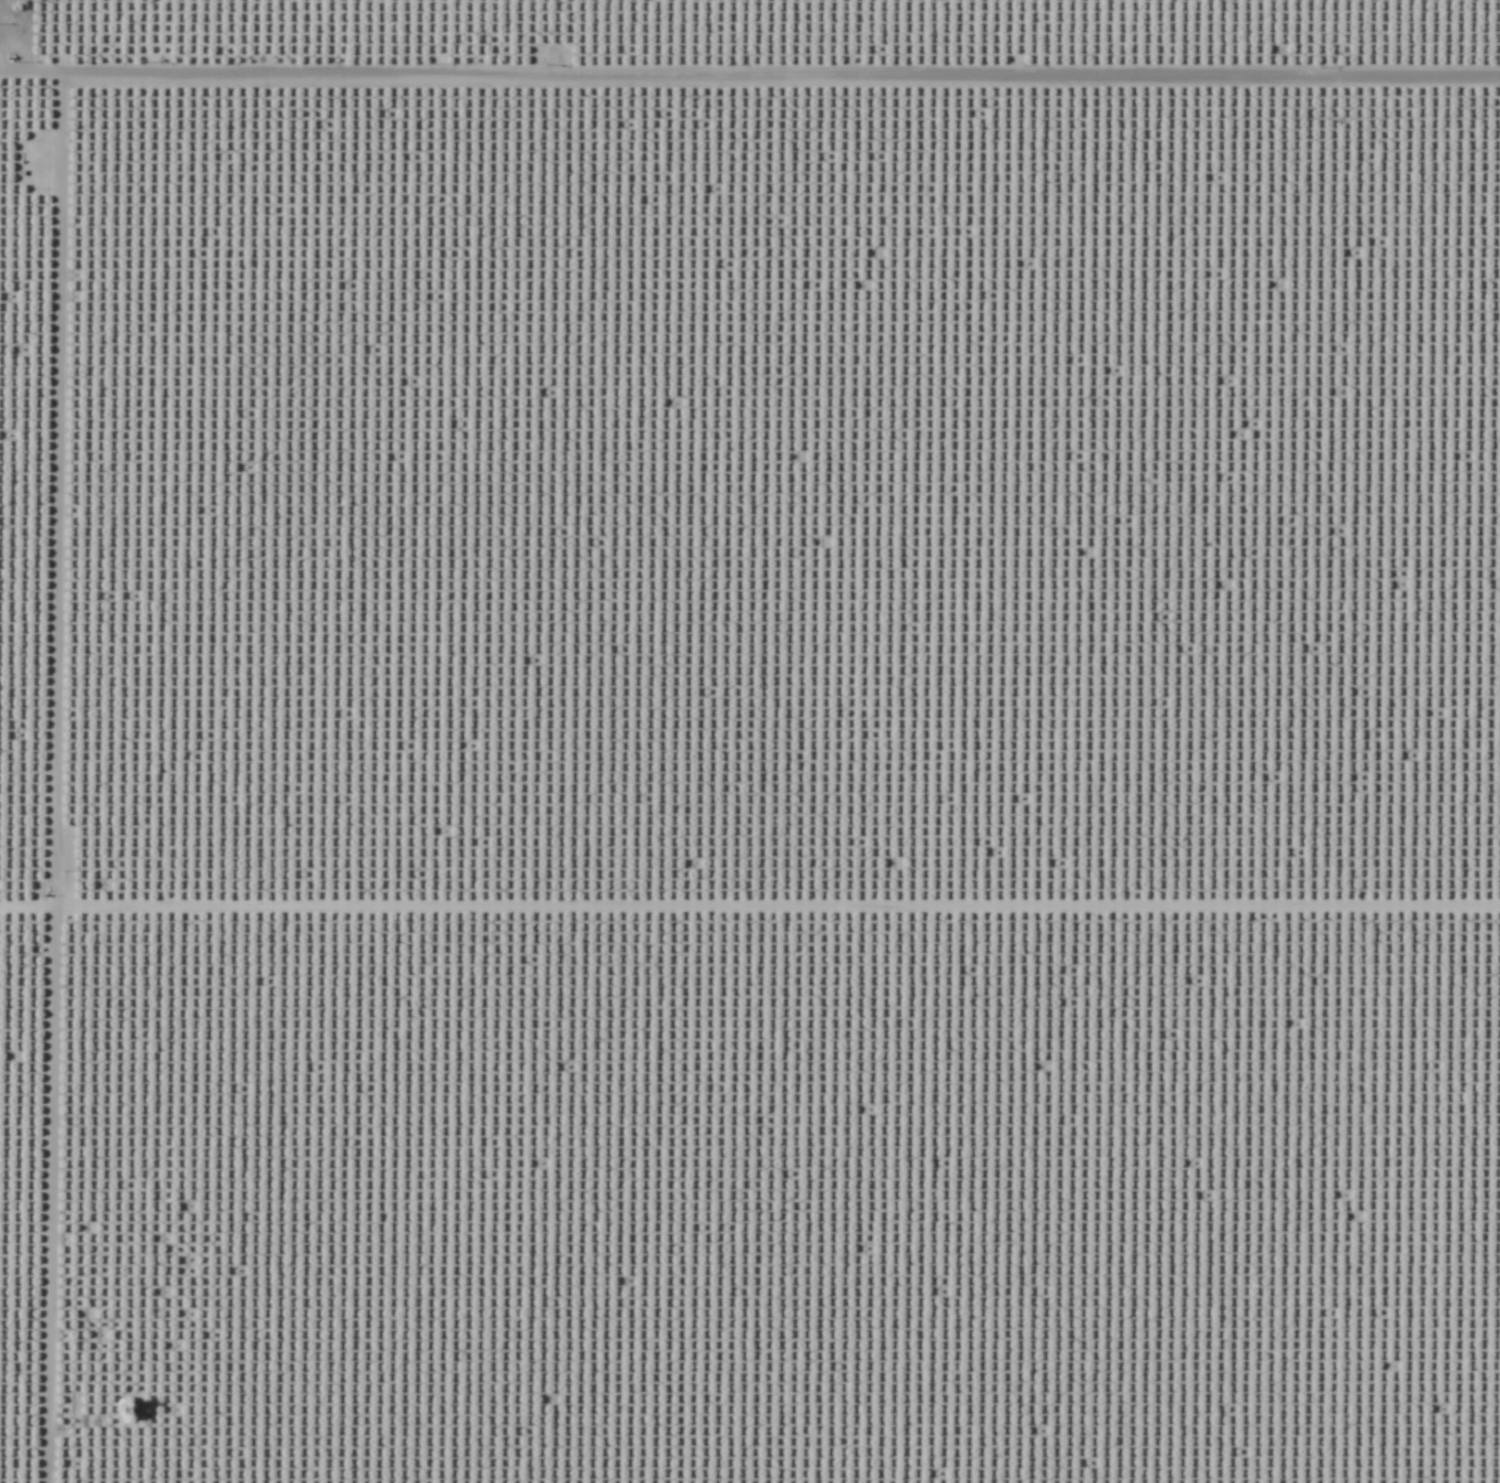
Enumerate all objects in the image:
road: (749, 49)
road: (46, 775)
road: (773, 877)
road: (179, 1423)

